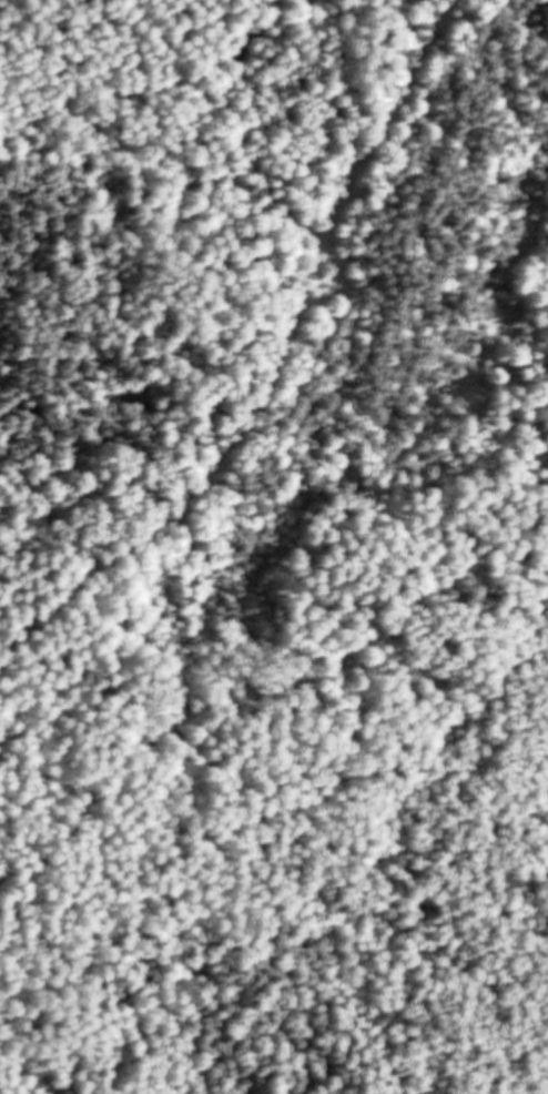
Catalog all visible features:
road: (282, 363)

